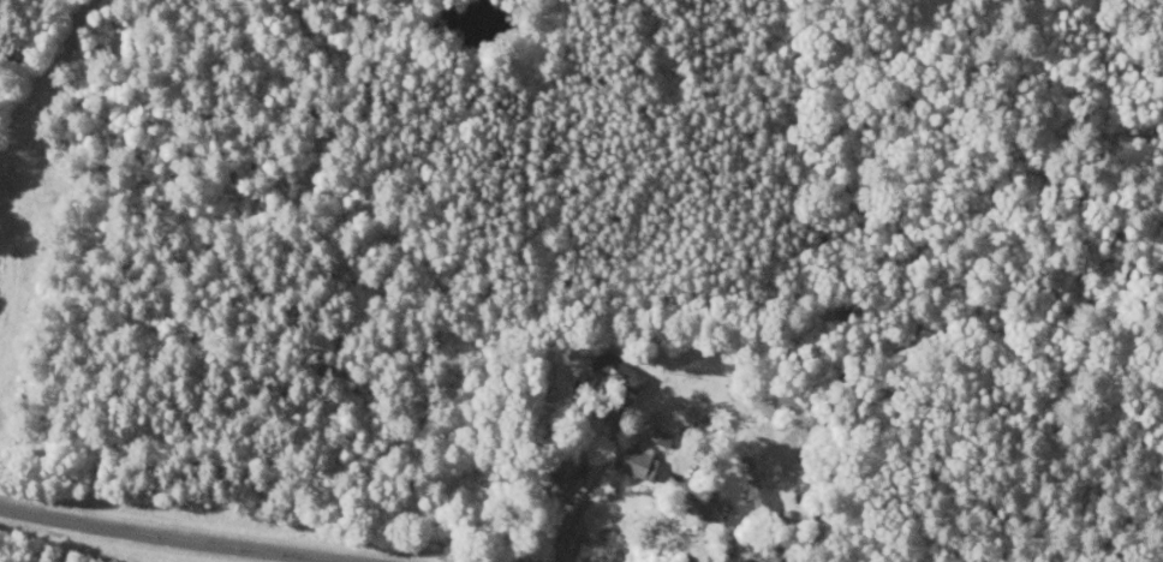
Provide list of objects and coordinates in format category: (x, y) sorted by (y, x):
building: (613, 372)
building: (633, 462)
building: (567, 471)
building: (751, 484)
road: (173, 538)
building: (761, 551)

